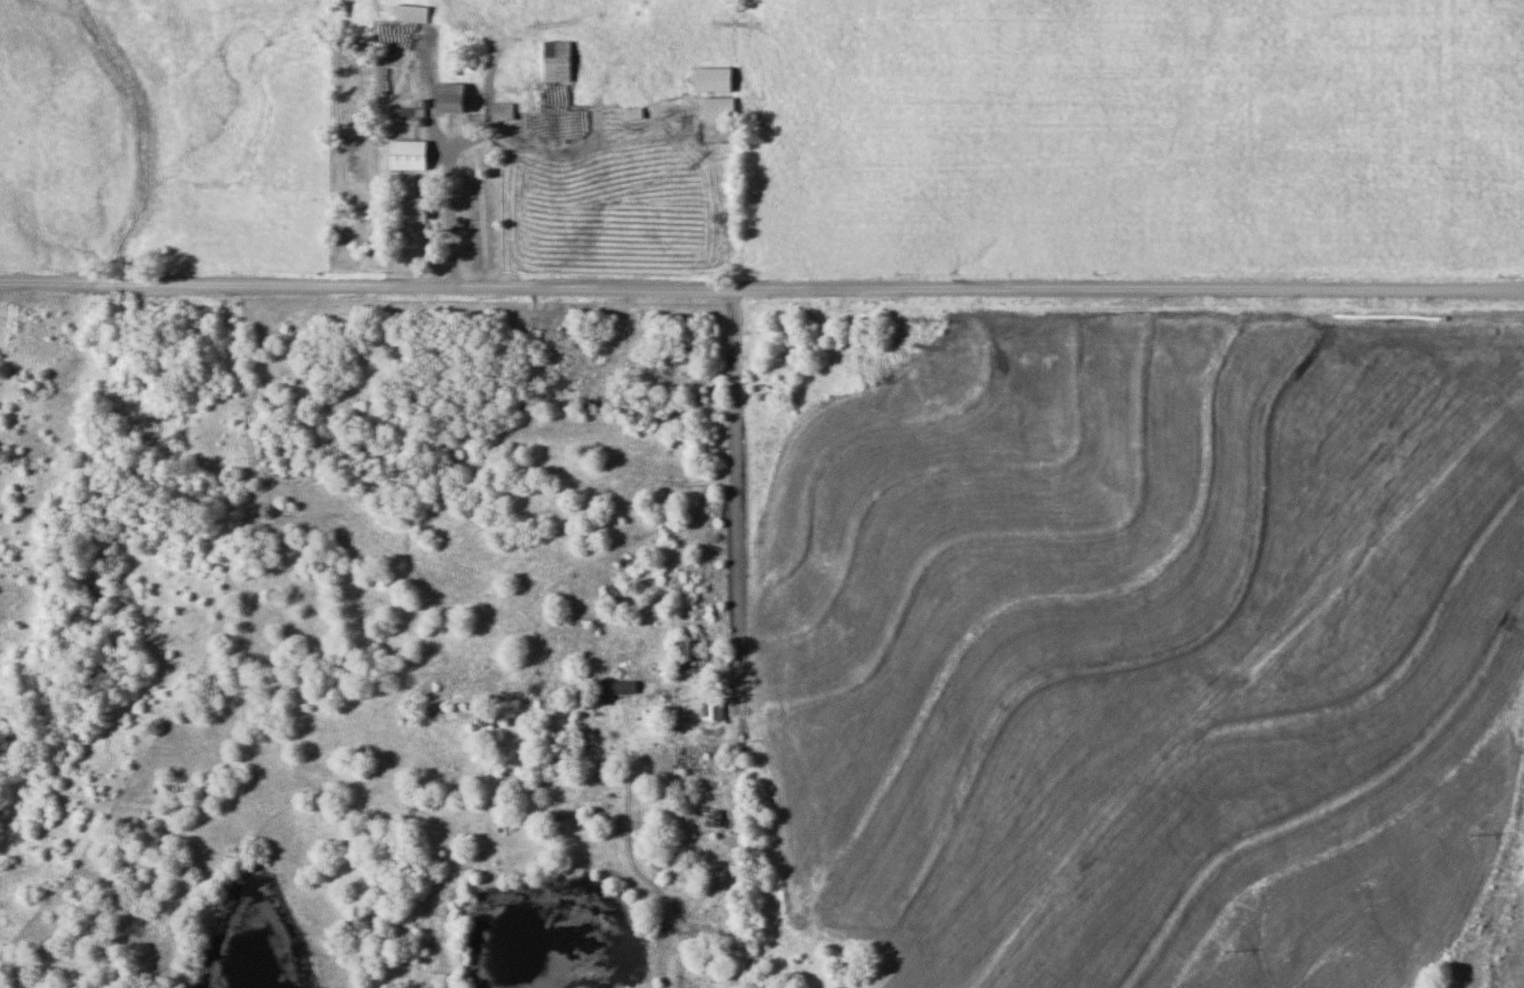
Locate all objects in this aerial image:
building: (409, 14)
building: (554, 61)
building: (709, 79)
building: (446, 98)
building: (716, 109)
building: (407, 112)
building: (501, 112)
building: (632, 112)
building: (403, 154)
building: (412, 211)
road: (446, 218)
road: (761, 289)
road: (733, 531)
building: (693, 650)
building: (616, 686)
building: (710, 709)
building: (713, 818)

